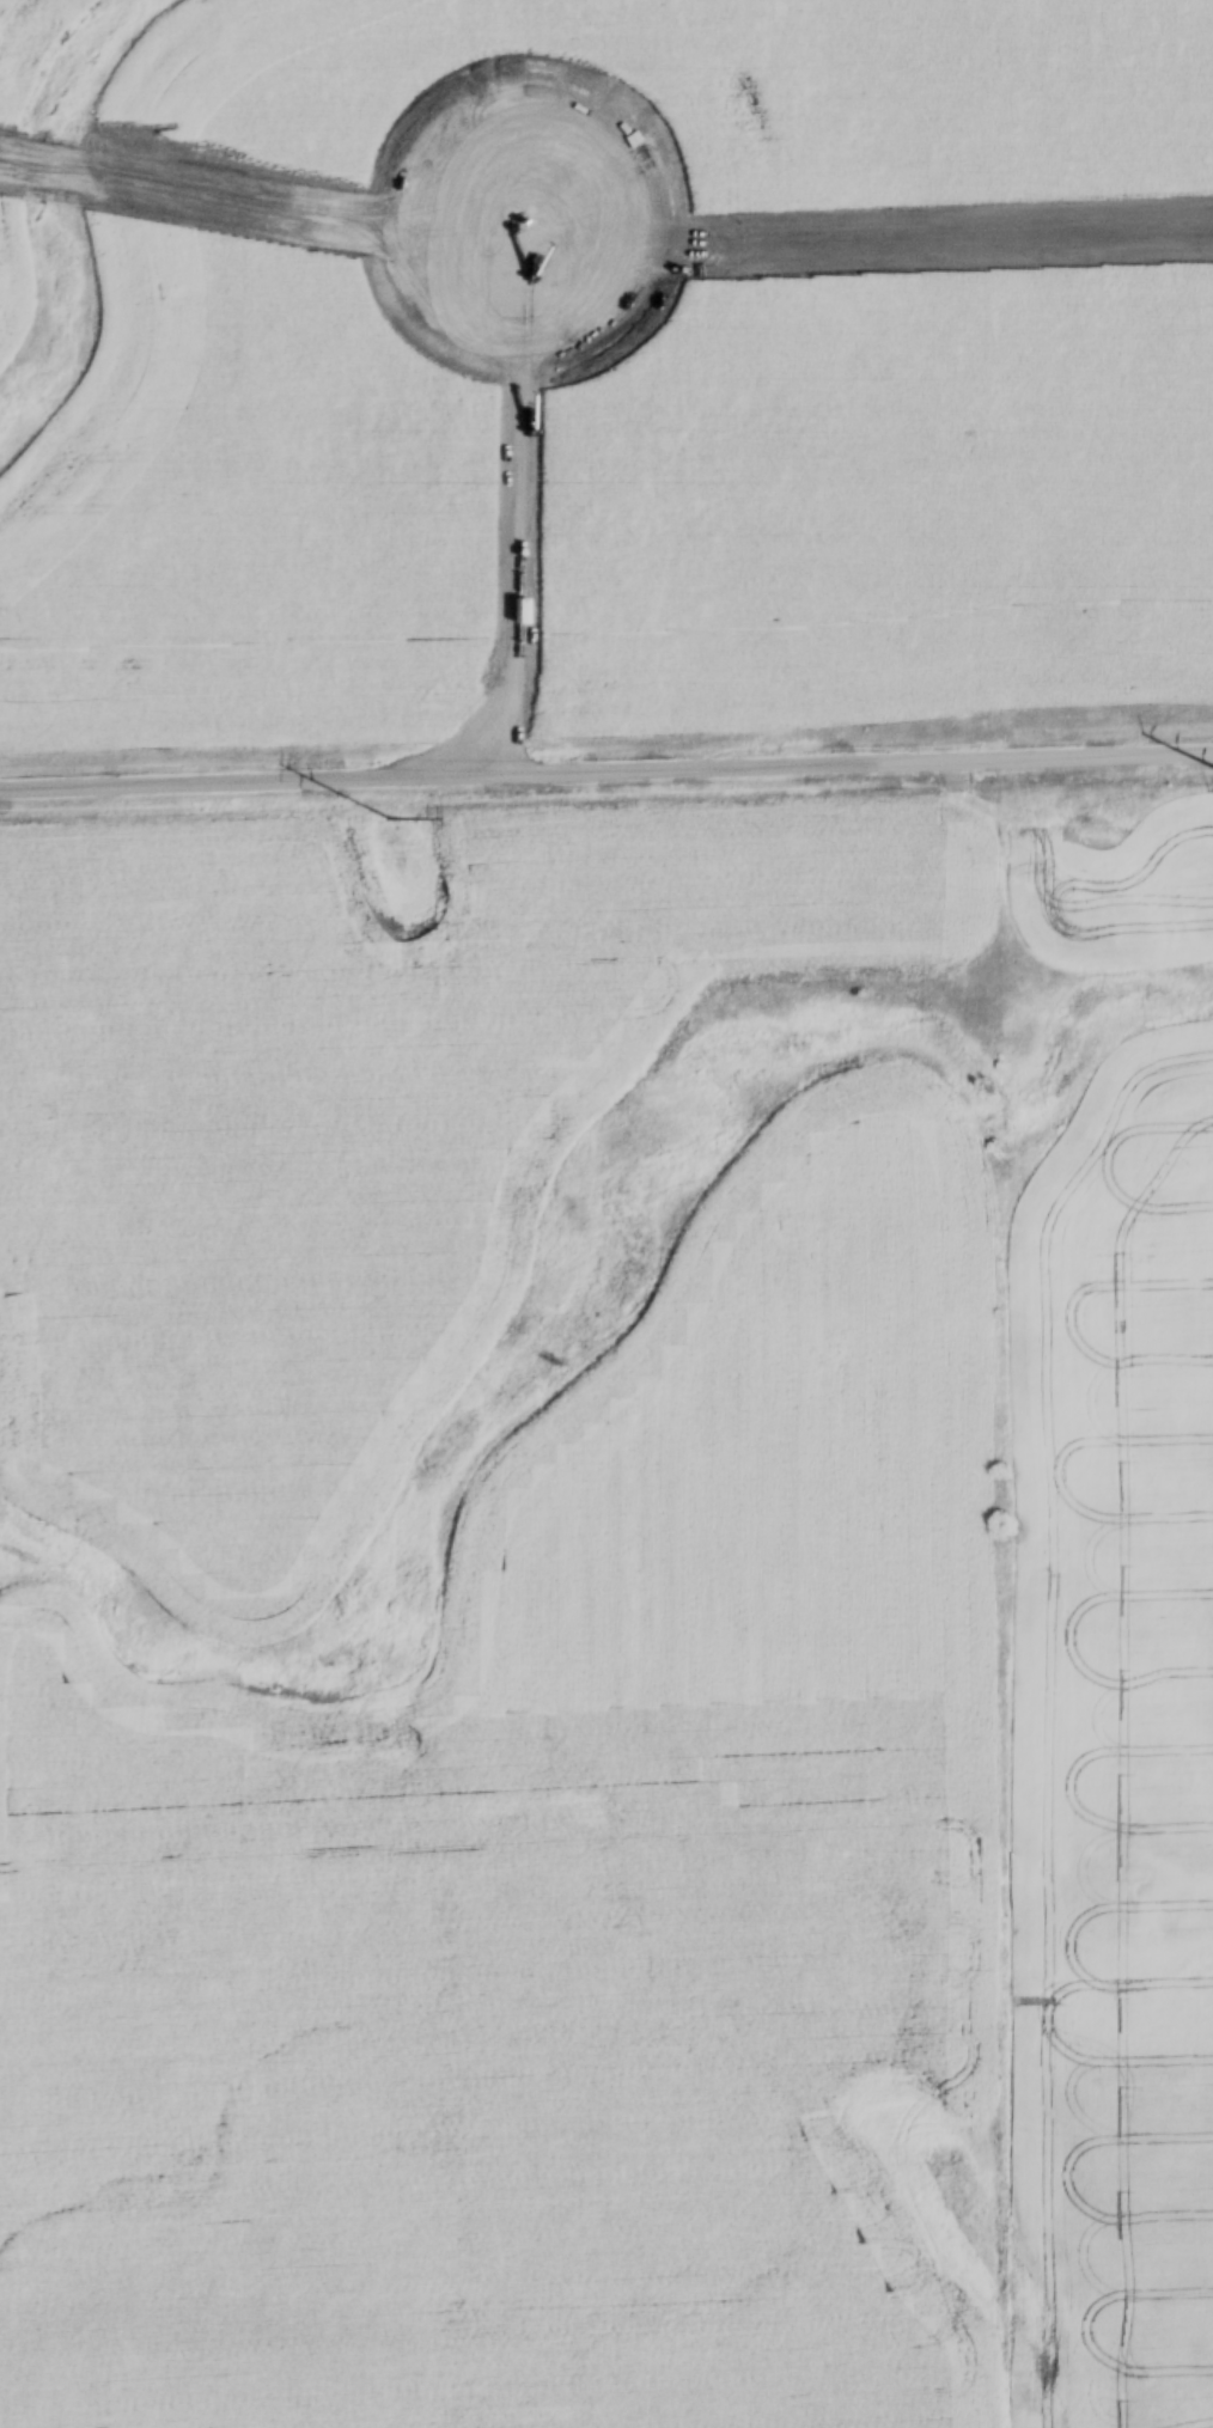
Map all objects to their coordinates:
wind turbine: (522, 233)
road: (605, 765)
power tower: (389, 816)

